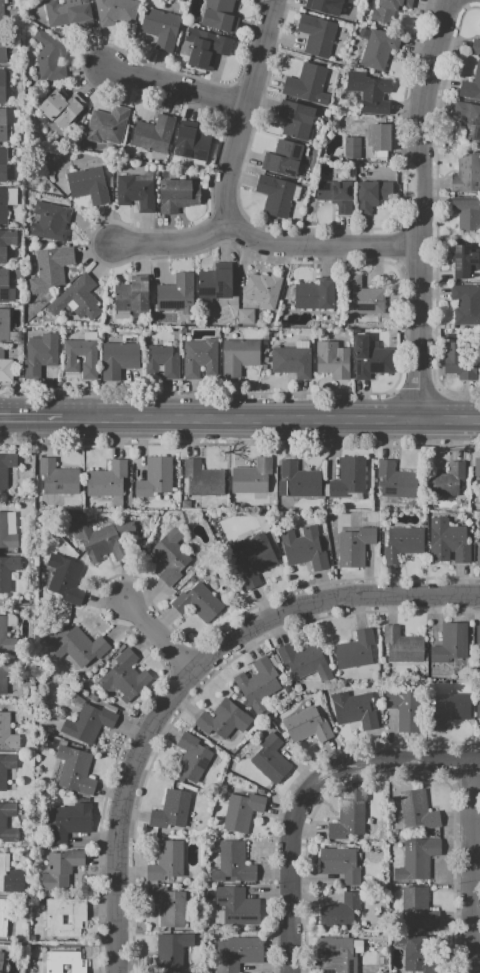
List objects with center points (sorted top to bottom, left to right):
building: (325, 6)
building: (388, 9)
building: (116, 11)
building: (1, 12)
building: (68, 14)
building: (219, 15)
building: (161, 28)
building: (317, 35)
building: (2, 46)
building: (475, 46)
building: (206, 47)
building: (376, 47)
building: (49, 55)
building: (307, 84)
road: (176, 85)
building: (471, 85)
building: (2, 86)
building: (369, 92)
building: (61, 108)
road: (243, 112)
building: (296, 119)
building: (468, 119)
building: (2, 125)
building: (106, 125)
building: (153, 134)
building: (378, 137)
building: (191, 144)
building: (351, 147)
building: (282, 158)
building: (3, 165)
building: (467, 172)
building: (88, 185)
building: (134, 193)
building: (335, 194)
building: (177, 195)
building: (275, 195)
building: (371, 195)
building: (3, 206)
road: (420, 207)
building: (467, 213)
building: (50, 221)
building: (6, 243)
road: (174, 243)
road: (321, 245)
building: (461, 261)
building: (51, 267)
building: (215, 284)
building: (3, 285)
building: (263, 289)
building: (131, 294)
building: (176, 294)
building: (313, 296)
building: (361, 297)
building: (77, 298)
building: (466, 304)
building: (245, 316)
building: (4, 325)
building: (40, 354)
building: (239, 356)
building: (200, 357)
building: (118, 358)
building: (371, 358)
building: (69, 359)
building: (332, 360)
building: (162, 361)
building: (292, 361)
building: (459, 361)
building: (6, 370)
road: (271, 418)
road: (31, 419)
building: (6, 467)
building: (477, 471)
building: (251, 476)
building: (155, 477)
building: (348, 477)
building: (57, 478)
building: (203, 479)
building: (107, 480)
building: (296, 480)
building: (448, 480)
building: (396, 481)
building: (79, 518)
building: (7, 533)
building: (105, 540)
building: (448, 541)
building: (402, 543)
building: (354, 546)
building: (304, 548)
building: (170, 556)
building: (478, 556)
building: (251, 559)
building: (7, 571)
building: (65, 579)
road: (328, 600)
building: (197, 603)
road: (159, 635)
building: (478, 635)
building: (6, 638)
building: (450, 643)
building: (79, 646)
building: (402, 646)
building: (355, 649)
building: (300, 659)
building: (6, 672)
building: (125, 676)
building: (258, 685)
building: (478, 705)
building: (405, 708)
building: (354, 709)
building: (448, 710)
building: (224, 719)
building: (88, 723)
building: (307, 726)
building: (7, 733)
building: (191, 758)
building: (270, 758)
building: (5, 768)
building: (75, 770)
road: (308, 794)
building: (171, 810)
building: (417, 810)
building: (242, 811)
road: (124, 812)
building: (347, 819)
building: (70, 821)
building: (2, 822)
building: (417, 858)
building: (166, 861)
building: (232, 863)
building: (339, 864)
road: (471, 867)
building: (61, 869)
building: (9, 876)
building: (168, 906)
building: (237, 906)
building: (417, 909)
building: (340, 911)
building: (2, 916)
building: (66, 919)
building: (54, 920)
road: (59, 943)
building: (169, 952)
building: (237, 953)
building: (416, 953)
building: (336, 955)
building: (1, 960)
building: (63, 961)
building: (65, 968)

